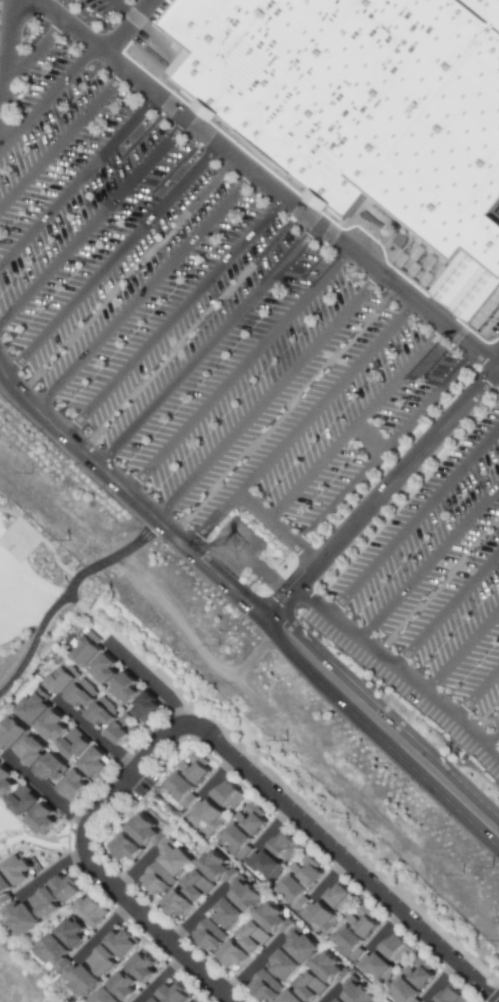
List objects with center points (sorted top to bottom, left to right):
road: (123, 9)
road: (128, 27)
road: (35, 50)
road: (9, 58)
road: (47, 95)
building: (360, 100)
road: (62, 134)
road: (77, 175)
road: (272, 181)
road: (95, 219)
road: (110, 255)
road: (145, 286)
road: (175, 312)
road: (208, 340)
road: (239, 367)
road: (398, 374)
road: (269, 393)
road: (428, 399)
road: (301, 421)
road: (366, 437)
road: (308, 471)
road: (381, 493)
road: (338, 497)
road: (414, 518)
road: (276, 528)
road: (41, 538)
park: (17, 540)
power tower: (239, 546)
road: (428, 561)
park: (25, 577)
road: (65, 594)
road: (248, 604)
road: (445, 609)
building: (86, 650)
road: (460, 651)
road: (136, 653)
building: (103, 669)
road: (398, 673)
building: (59, 680)
building: (122, 687)
building: (79, 693)
road: (476, 696)
building: (33, 706)
building: (144, 707)
building: (102, 712)
building: (51, 726)
road: (202, 729)
building: (120, 731)
building: (11, 732)
road: (97, 734)
road: (491, 740)
building: (72, 744)
building: (29, 750)
building: (92, 762)
building: (194, 767)
building: (49, 768)
road: (214, 775)
building: (5, 782)
building: (69, 784)
building: (179, 787)
road: (46, 790)
building: (227, 795)
building: (22, 800)
building: (207, 813)
building: (40, 818)
building: (250, 819)
road: (270, 826)
building: (144, 831)
building: (235, 838)
building: (282, 846)
building: (123, 847)
building: (171, 856)
building: (262, 864)
building: (215, 867)
building: (16, 869)
road: (50, 869)
road: (133, 870)
building: (306, 870)
building: (156, 878)
road: (327, 878)
building: (194, 884)
building: (65, 887)
building: (4, 888)
building: (291, 889)
building: (242, 893)
building: (337, 895)
building: (43, 902)
building: (175, 904)
building: (89, 910)
building: (226, 913)
road: (195, 915)
building: (318, 915)
building: (20, 917)
building: (270, 918)
building: (361, 921)
road: (102, 927)
road: (383, 929)
building: (69, 931)
building: (207, 934)
building: (250, 936)
building: (120, 942)
building: (346, 942)
building: (298, 945)
building: (395, 949)
building: (53, 953)
building: (231, 953)
building: (102, 960)
building: (281, 964)
building: (142, 965)
building: (375, 966)
road: (251, 967)
building: (327, 967)
building: (418, 974)
building: (80, 978)
road: (159, 978)
road: (438, 980)
building: (124, 983)
building: (263, 985)
building: (307, 985)
building: (403, 990)
building: (354, 991)
building: (175, 993)
building: (450, 995)
road: (327, 996)
building: (288, 997)
building: (155, 1000)
building: (195, 1000)
building: (337, 1000)
road: (497, 1000)
building: (378, 1001)
building: (428, 1001)

